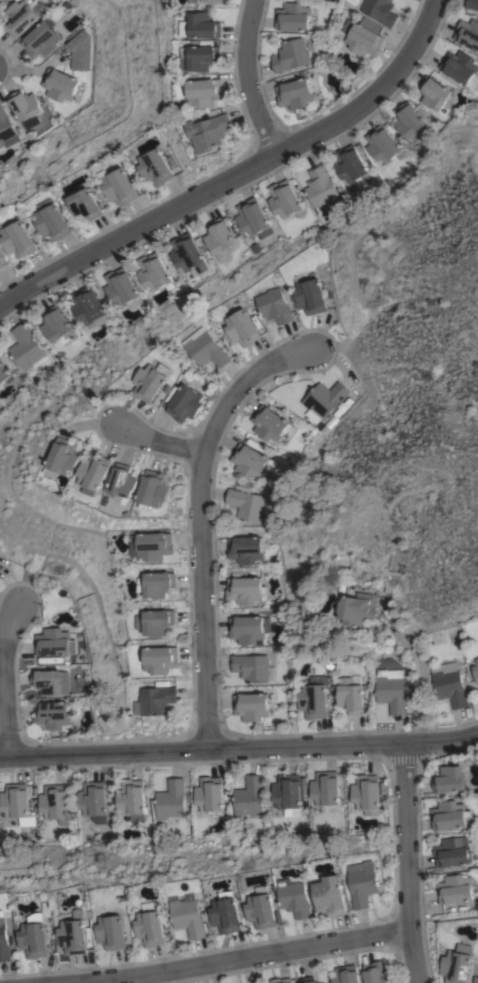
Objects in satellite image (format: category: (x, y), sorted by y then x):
building: (5, 1)
building: (205, 1)
building: (471, 4)
building: (380, 11)
building: (22, 15)
building: (292, 16)
building: (203, 26)
building: (468, 33)
building: (364, 36)
building: (40, 39)
building: (79, 50)
building: (290, 55)
building: (201, 56)
building: (460, 67)
road: (249, 78)
building: (58, 85)
building: (206, 92)
building: (294, 93)
building: (434, 93)
building: (25, 107)
building: (409, 122)
building: (6, 129)
building: (209, 131)
building: (383, 146)
building: (350, 165)
building: (156, 167)
road: (236, 175)
building: (319, 186)
building: (120, 187)
building: (284, 199)
building: (86, 204)
building: (252, 218)
building: (53, 220)
building: (19, 239)
building: (219, 241)
building: (186, 254)
building: (1, 263)
building: (152, 271)
building: (121, 288)
building: (309, 296)
building: (274, 305)
building: (87, 306)
building: (54, 324)
building: (241, 327)
building: (25, 348)
building: (204, 348)
building: (4, 375)
building: (149, 381)
building: (324, 398)
building: (184, 403)
building: (270, 424)
road: (158, 439)
building: (63, 457)
building: (248, 460)
building: (94, 472)
building: (123, 484)
building: (153, 489)
building: (247, 505)
road: (202, 518)
building: (152, 545)
building: (244, 549)
building: (159, 583)
building: (245, 590)
building: (357, 608)
building: (156, 621)
building: (247, 628)
building: (54, 642)
building: (161, 659)
road: (419, 660)
building: (250, 667)
building: (476, 670)
road: (3, 675)
building: (47, 681)
building: (449, 683)
building: (390, 689)
building: (350, 695)
building: (314, 697)
building: (155, 700)
building: (250, 706)
building: (53, 714)
road: (239, 745)
building: (448, 779)
building: (325, 788)
building: (289, 791)
building: (366, 793)
building: (209, 794)
building: (248, 797)
building: (131, 799)
building: (92, 801)
building: (170, 802)
building: (54, 803)
building: (16, 804)
building: (449, 815)
building: (452, 852)
road: (405, 863)
building: (363, 883)
building: (454, 889)
building: (331, 897)
building: (294, 898)
building: (263, 909)
building: (227, 913)
building: (188, 915)
building: (151, 925)
building: (112, 931)
building: (74, 934)
building: (34, 936)
building: (4, 940)
road: (233, 960)
building: (456, 964)
building: (377, 973)
building: (346, 974)
building: (281, 980)
building: (308, 980)

